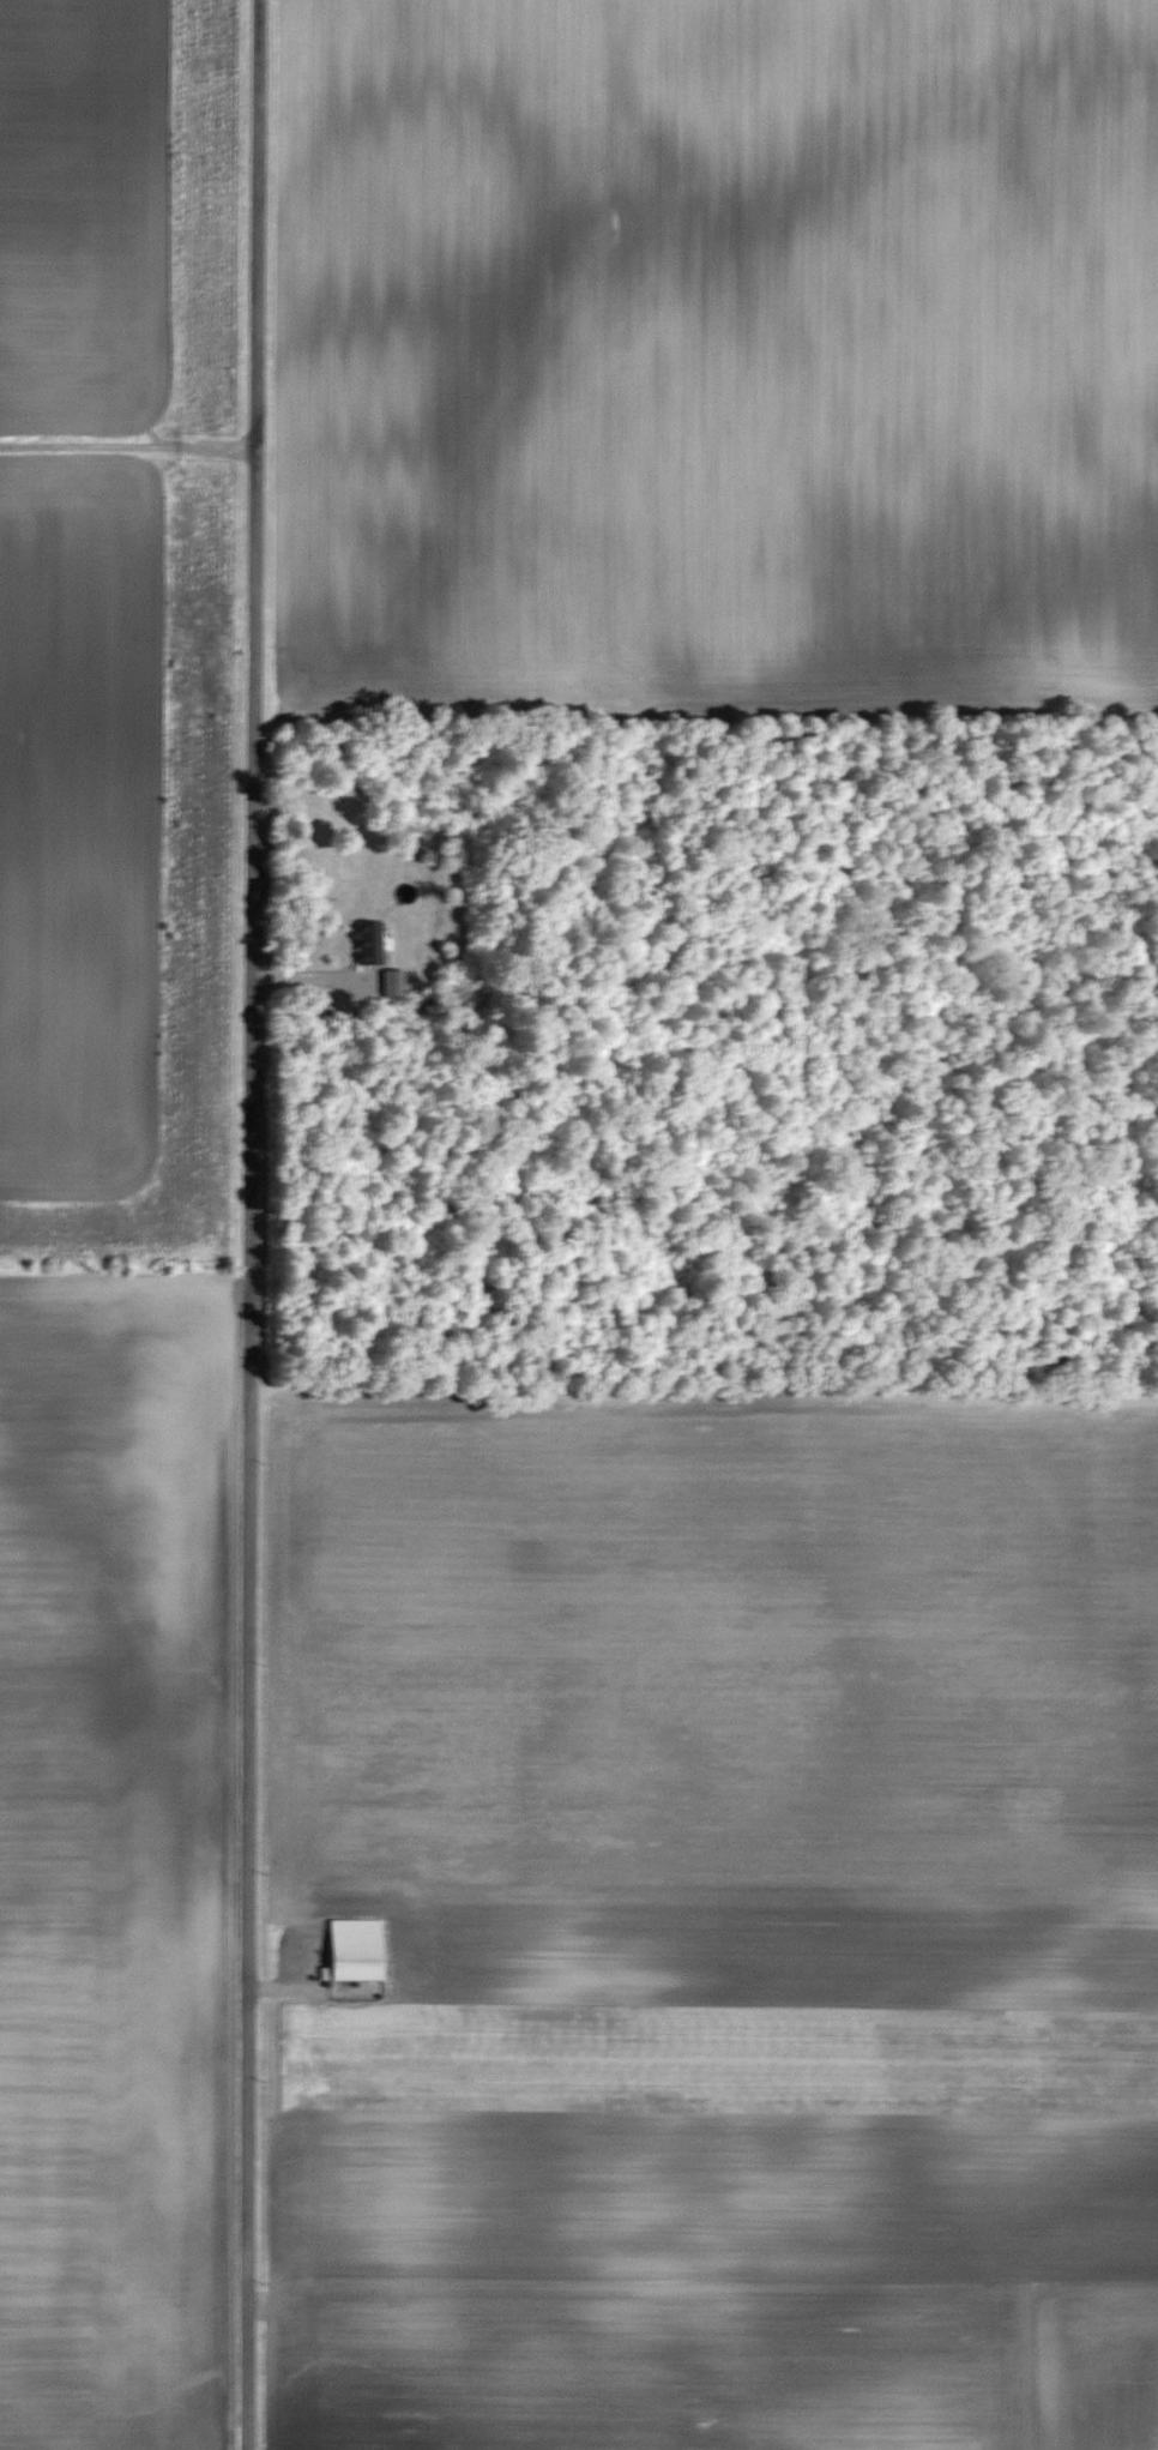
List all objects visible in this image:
road: (132, 435)
building: (368, 943)
road: (252, 1224)
building: (354, 1950)

